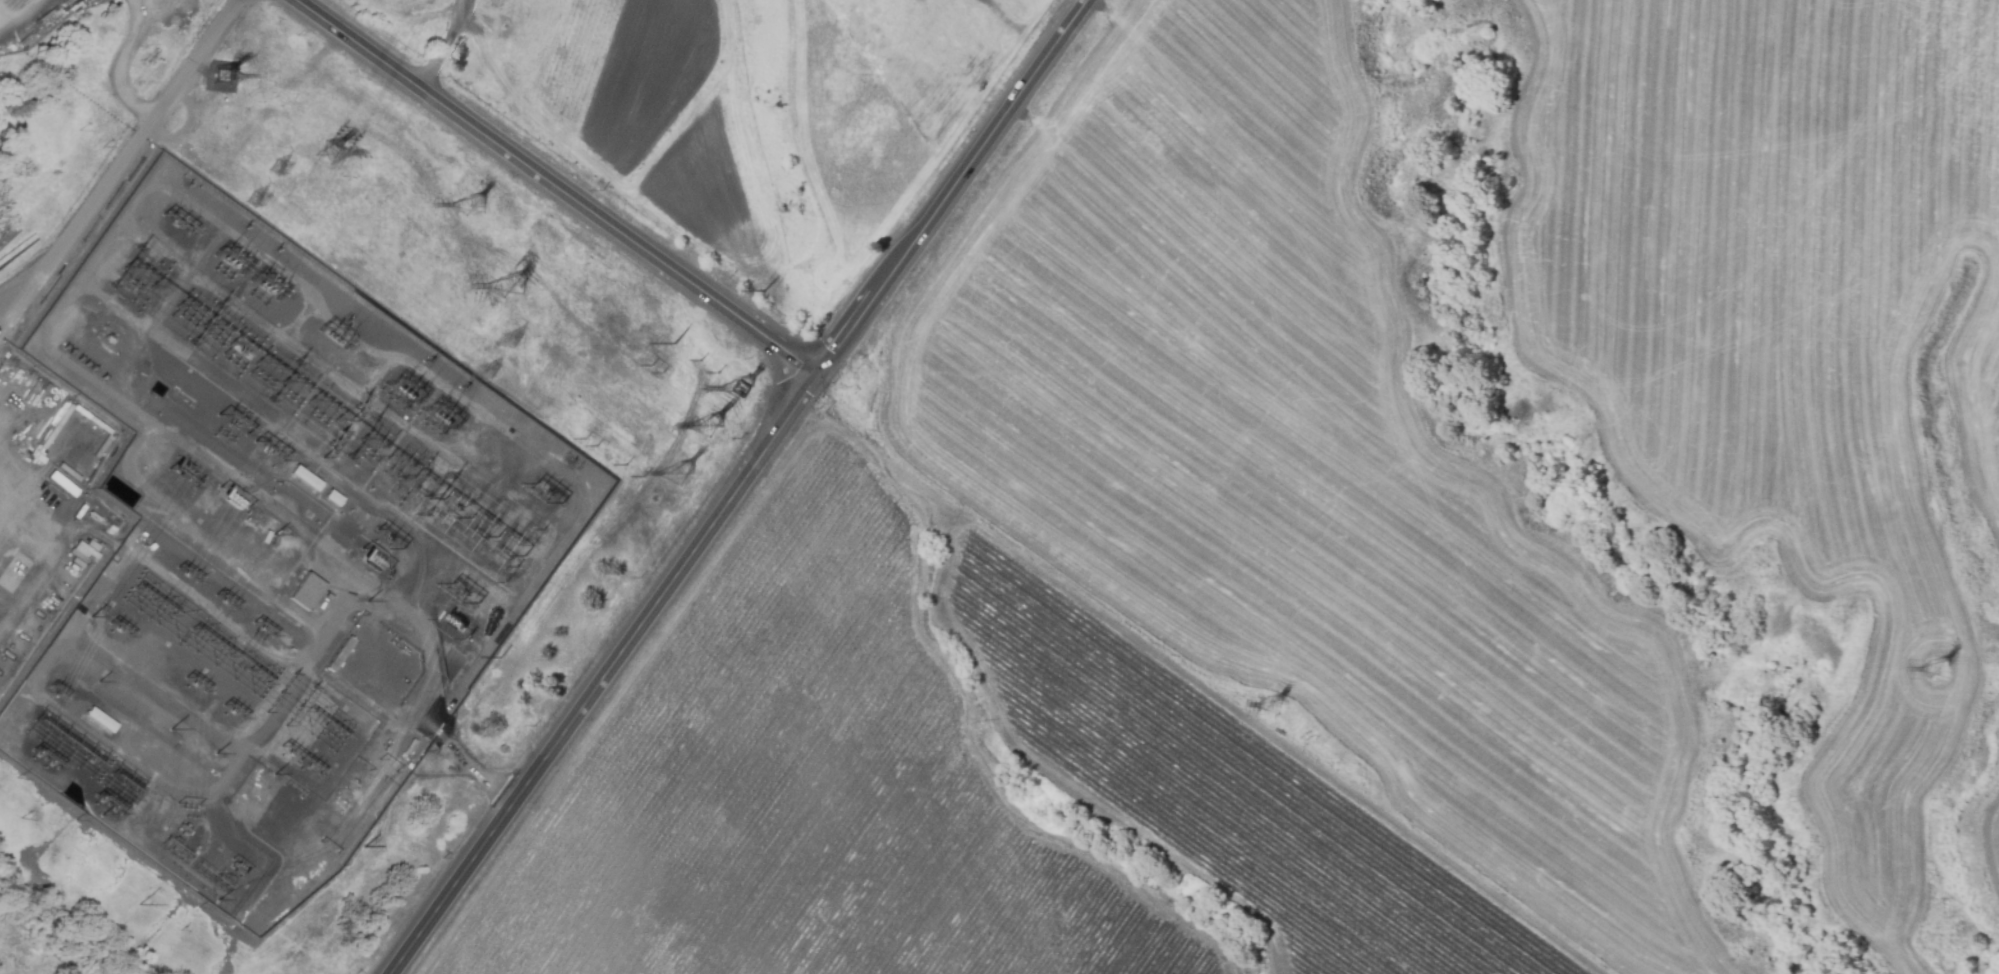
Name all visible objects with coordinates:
road: (14, 11)
road: (442, 44)
road: (123, 67)
power tower: (220, 77)
power tower: (324, 153)
road: (127, 162)
power tower: (276, 167)
road: (554, 185)
road: (945, 186)
power tower: (252, 200)
power tower: (473, 203)
power tower: (511, 287)
road: (5, 322)
power tower: (514, 342)
power tower: (489, 372)
power tower: (744, 390)
building: (88, 417)
building: (56, 426)
power tower: (710, 427)
power tower: (590, 443)
power tower: (680, 475)
building: (304, 478)
building: (332, 498)
building: (66, 499)
building: (83, 515)
power substation: (274, 551)
building: (305, 590)
building: (36, 629)
building: (22, 643)
building: (338, 653)
building: (6, 666)
power tower: (1939, 671)
road: (603, 674)
power tower: (1276, 708)
building: (99, 720)
building: (403, 745)
building: (185, 829)
building: (144, 844)

